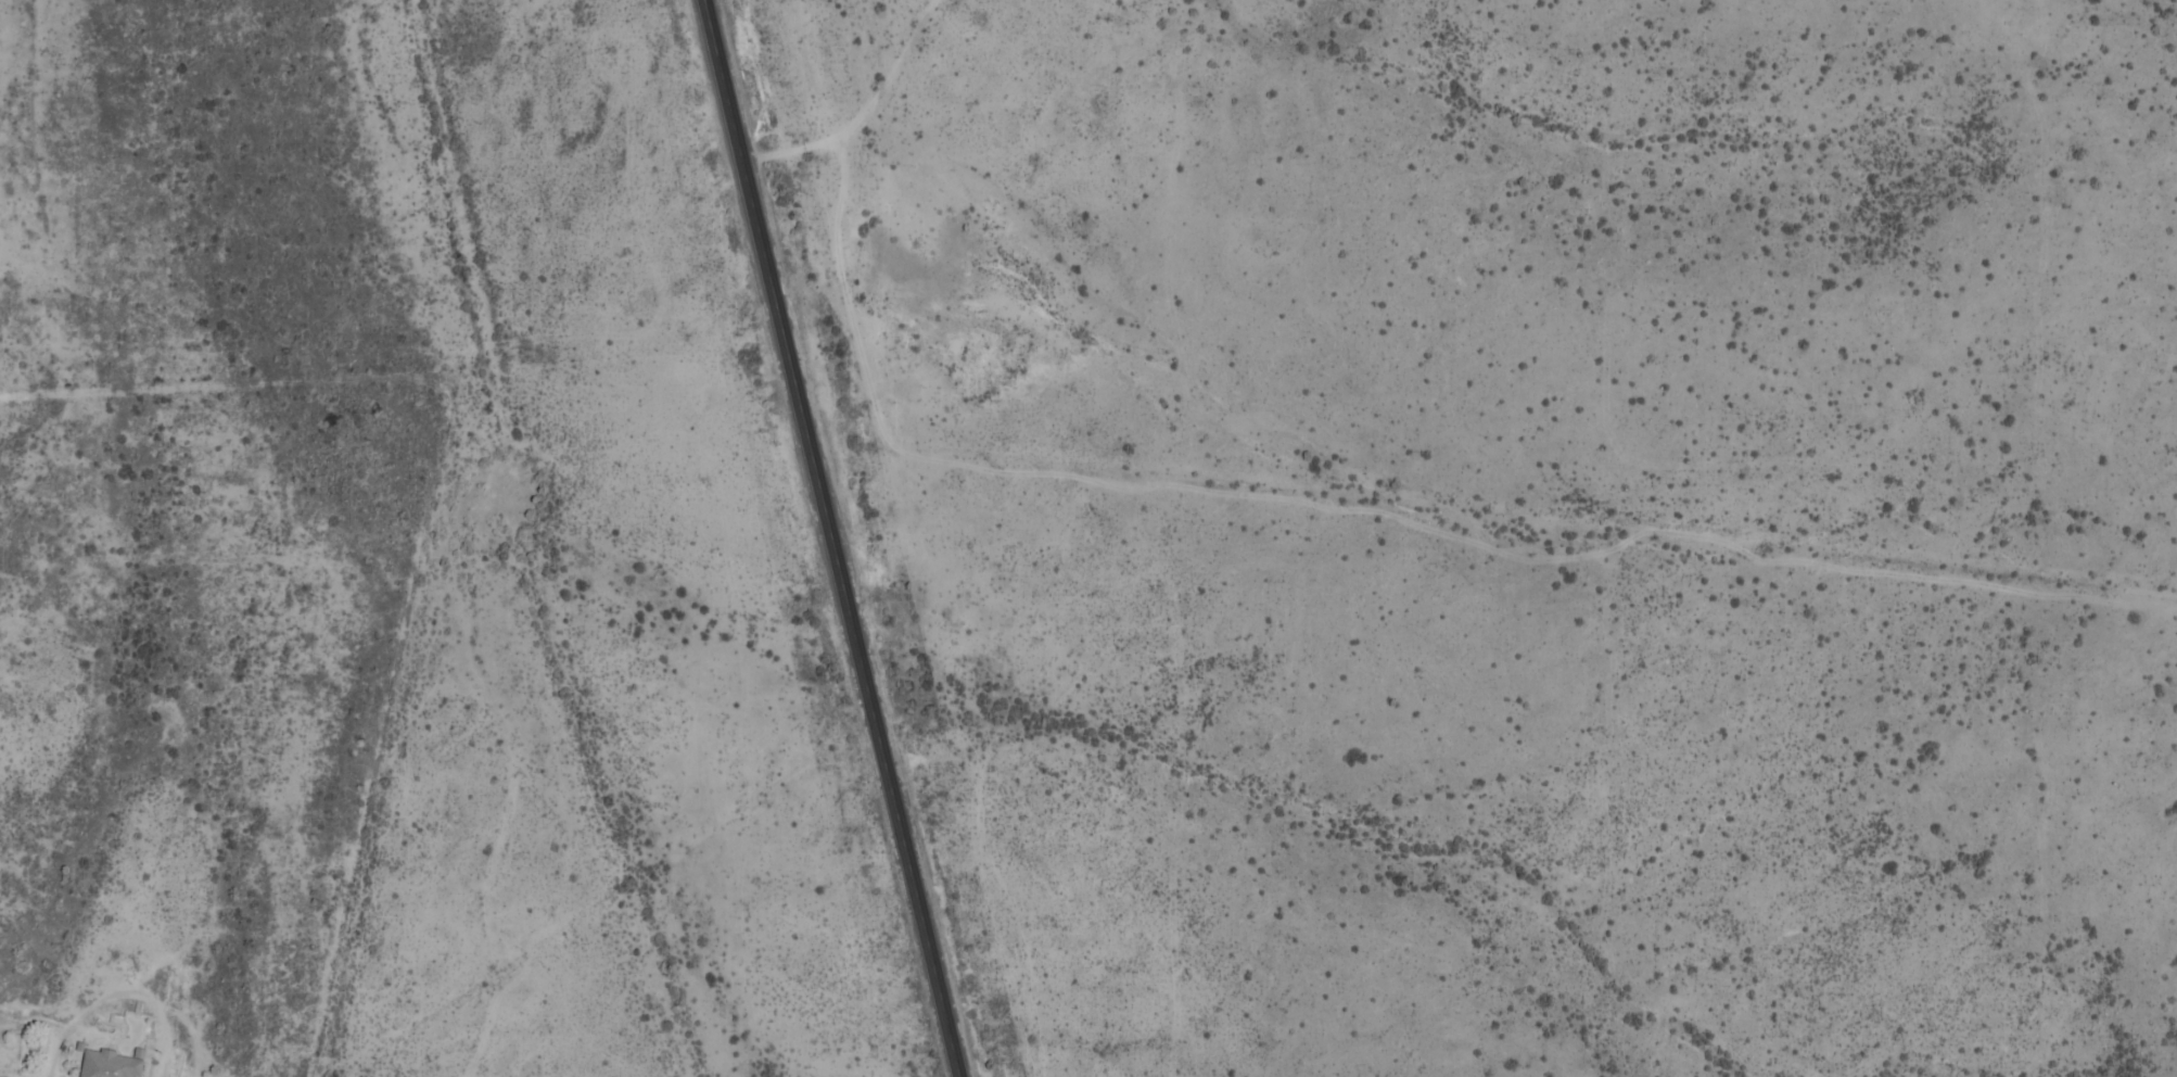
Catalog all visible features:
road: (836, 54)
road: (833, 538)

